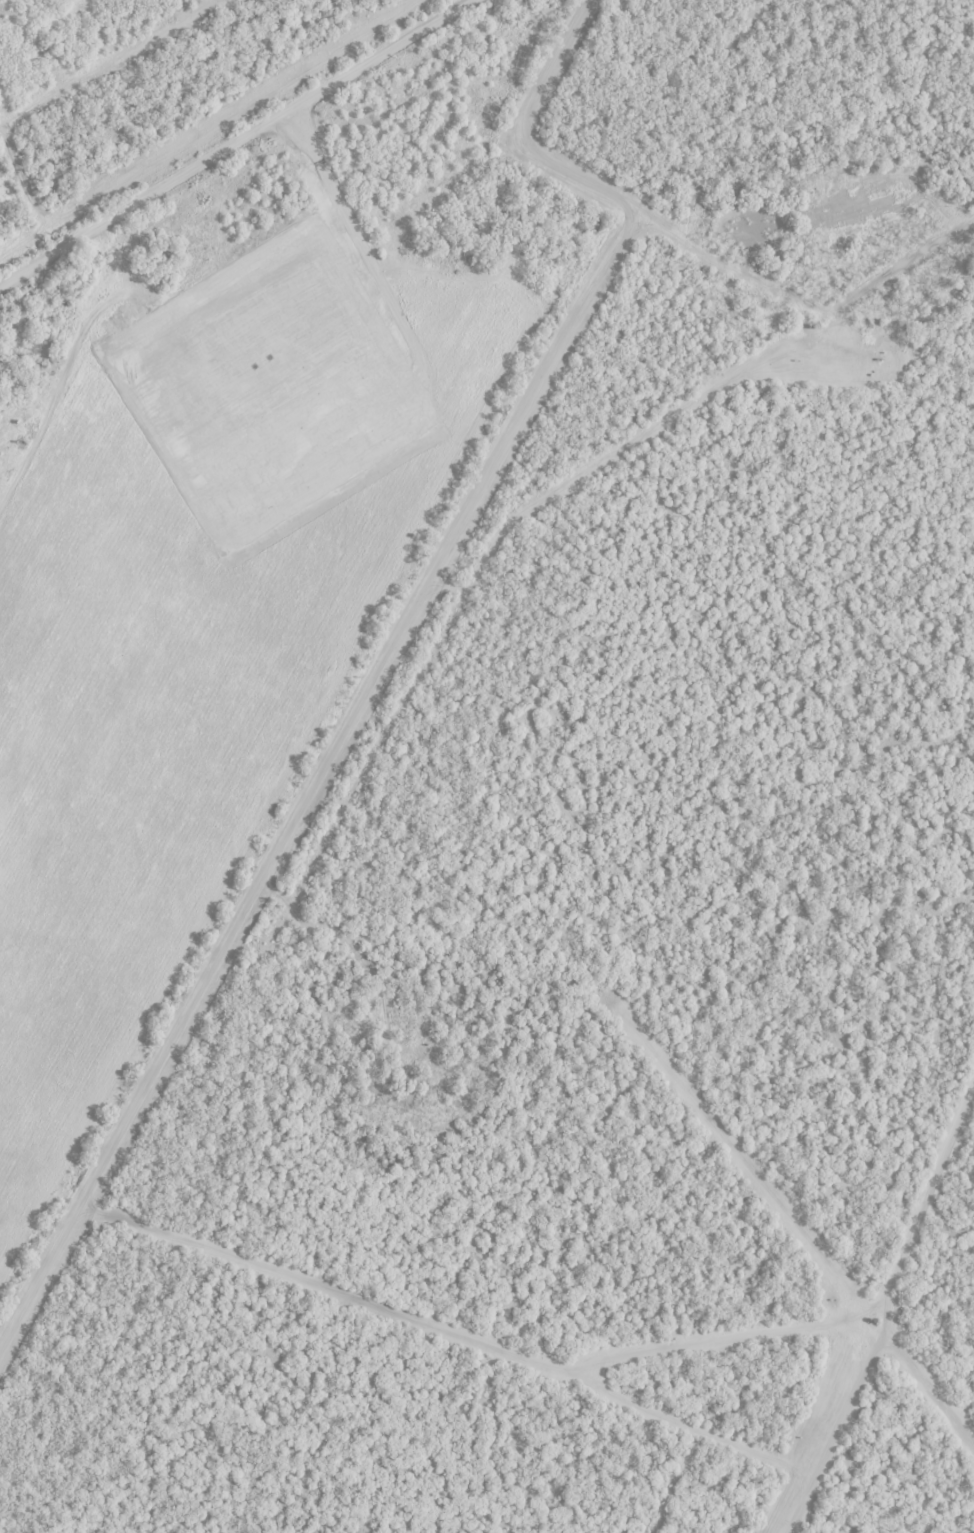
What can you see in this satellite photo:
road: (237, 142)

